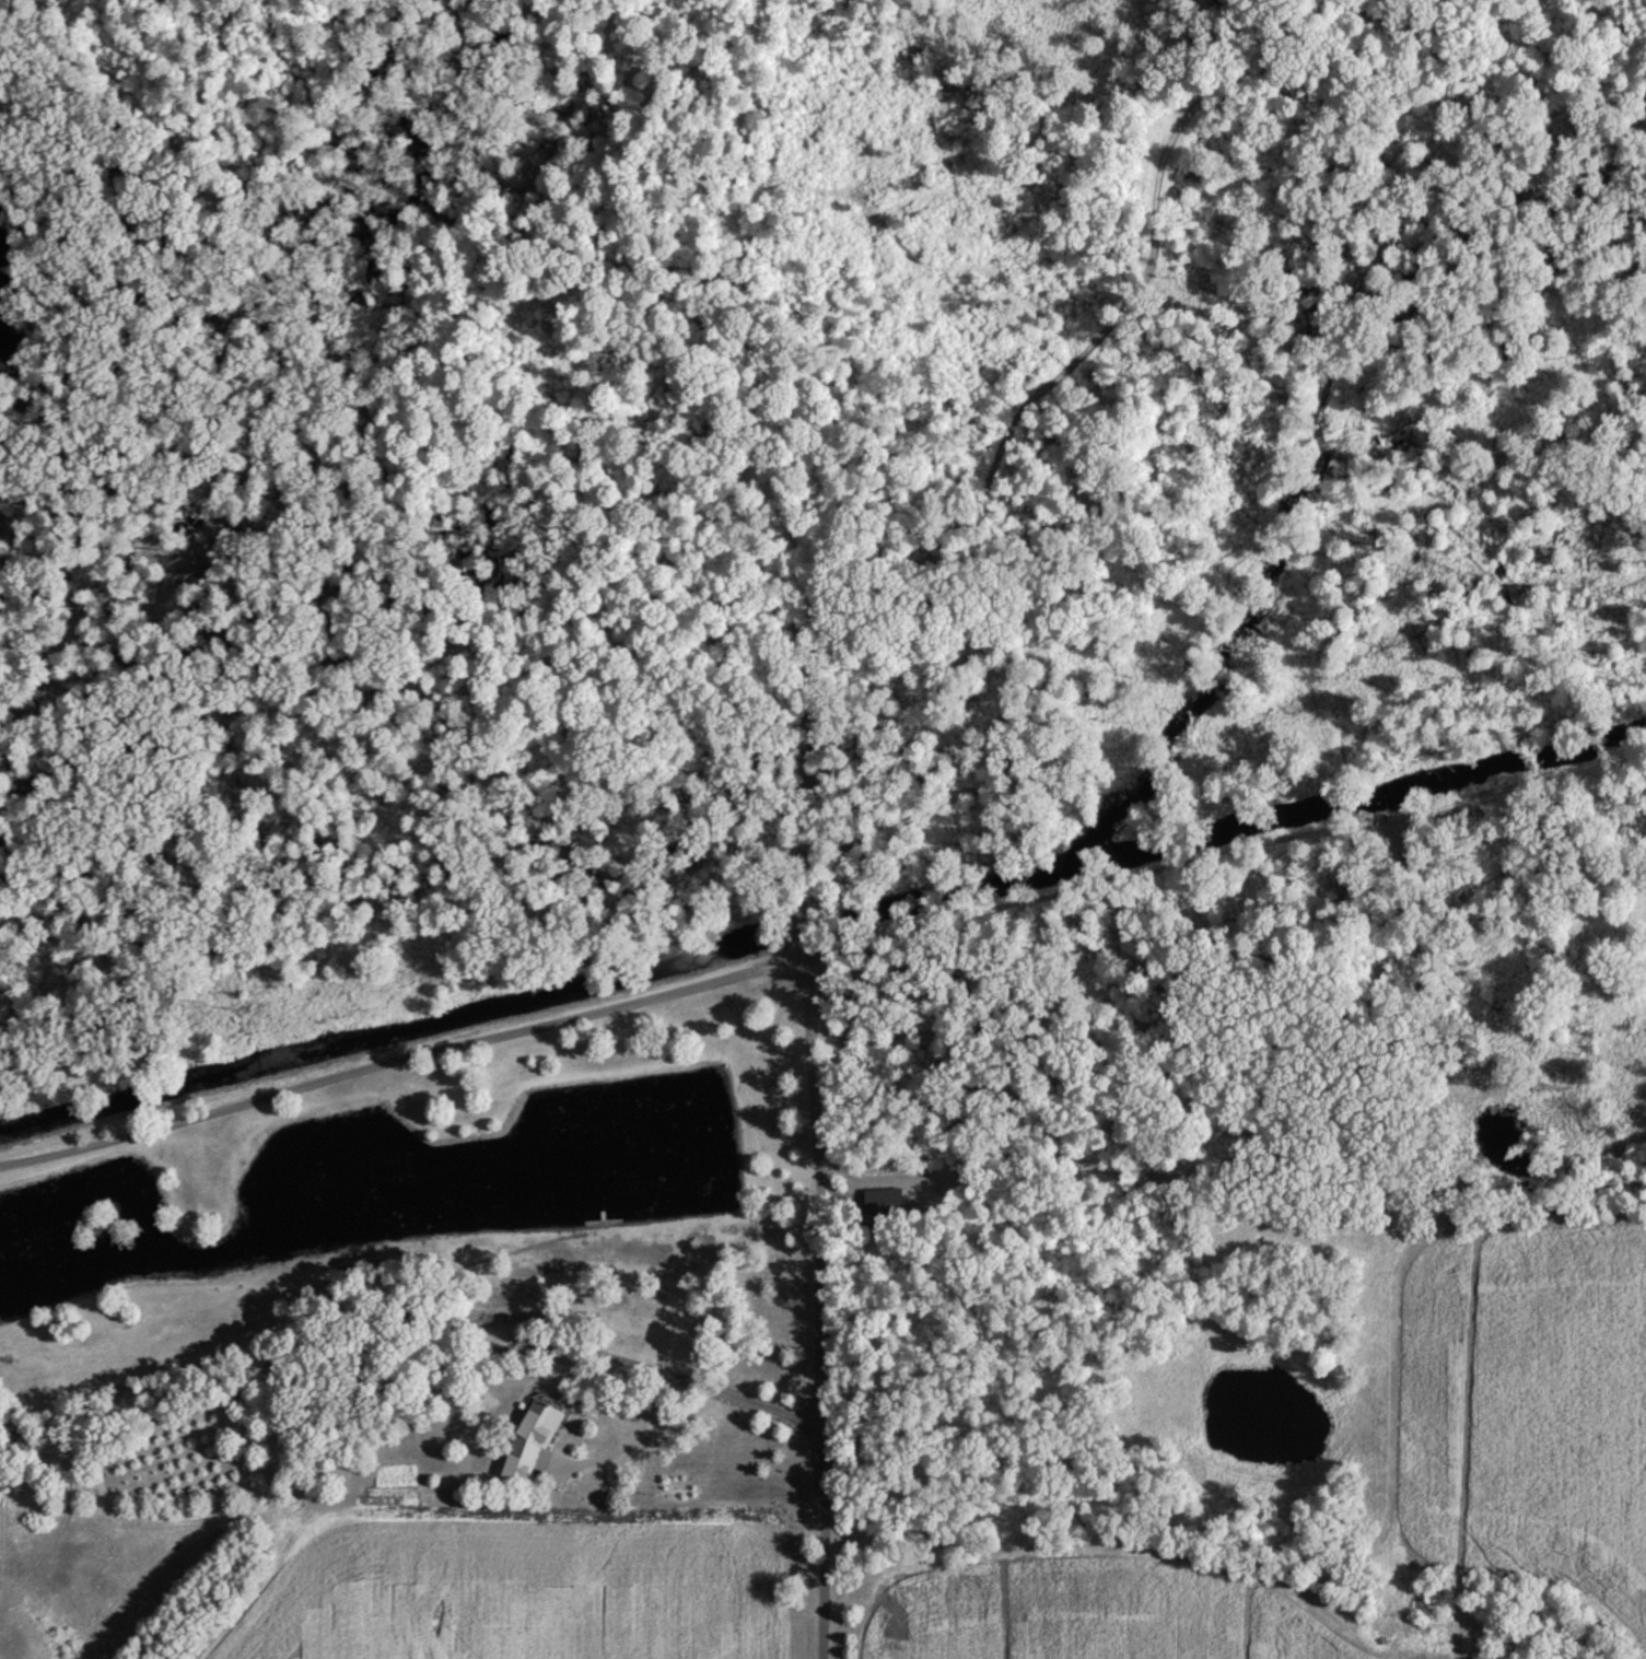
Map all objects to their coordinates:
building: (532, 1441)

